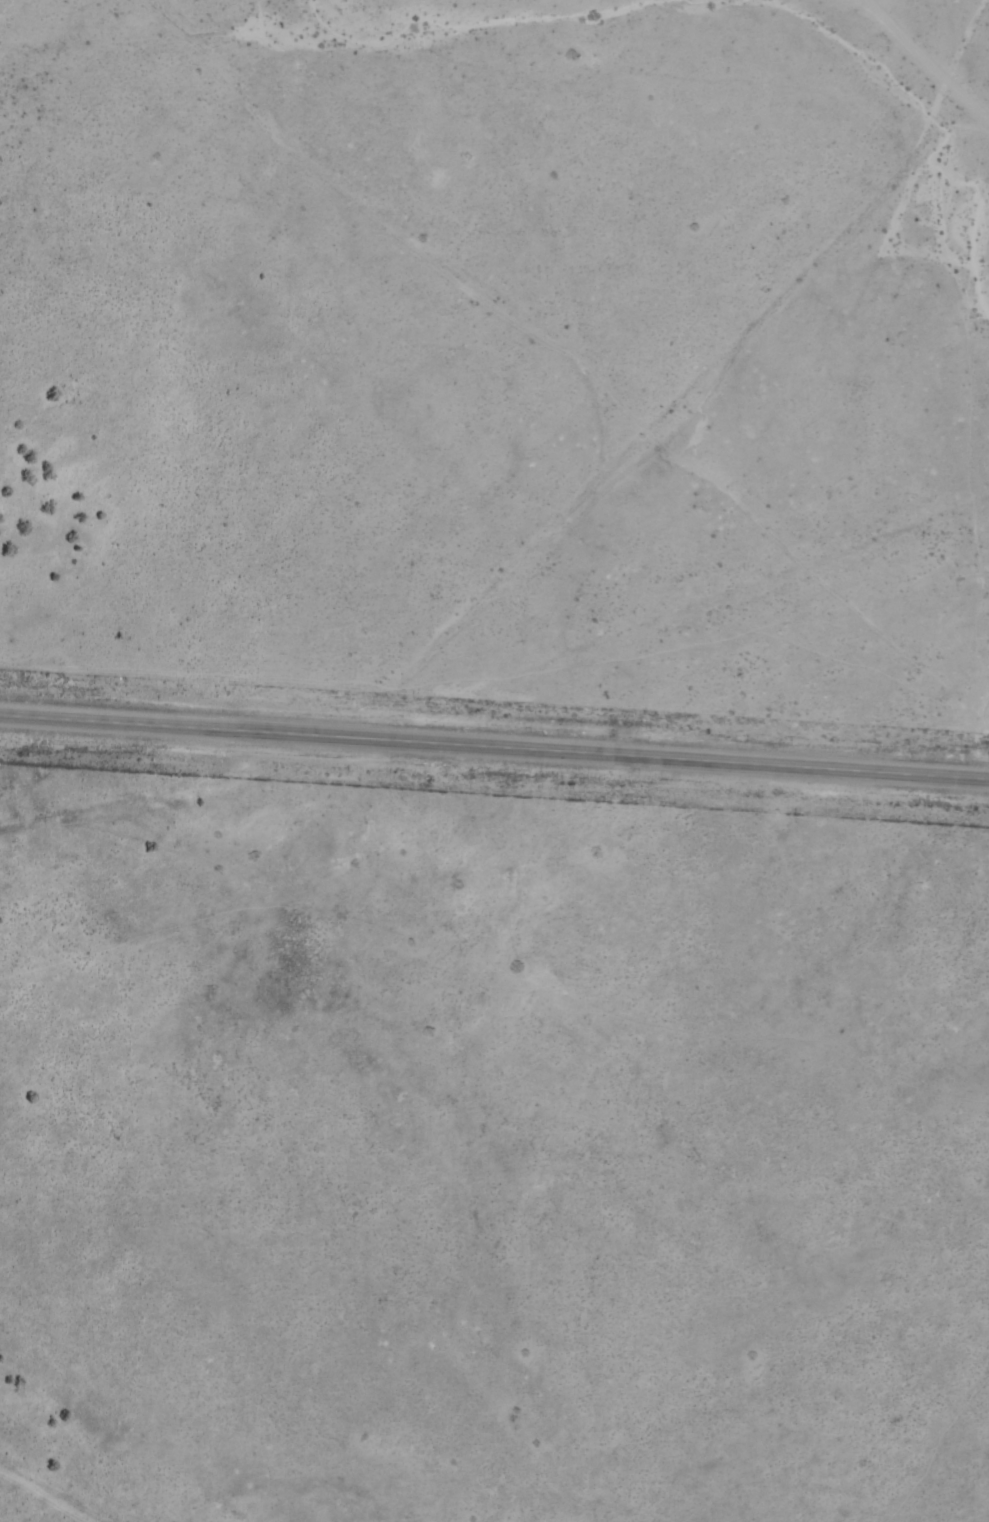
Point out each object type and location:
road: (494, 746)

